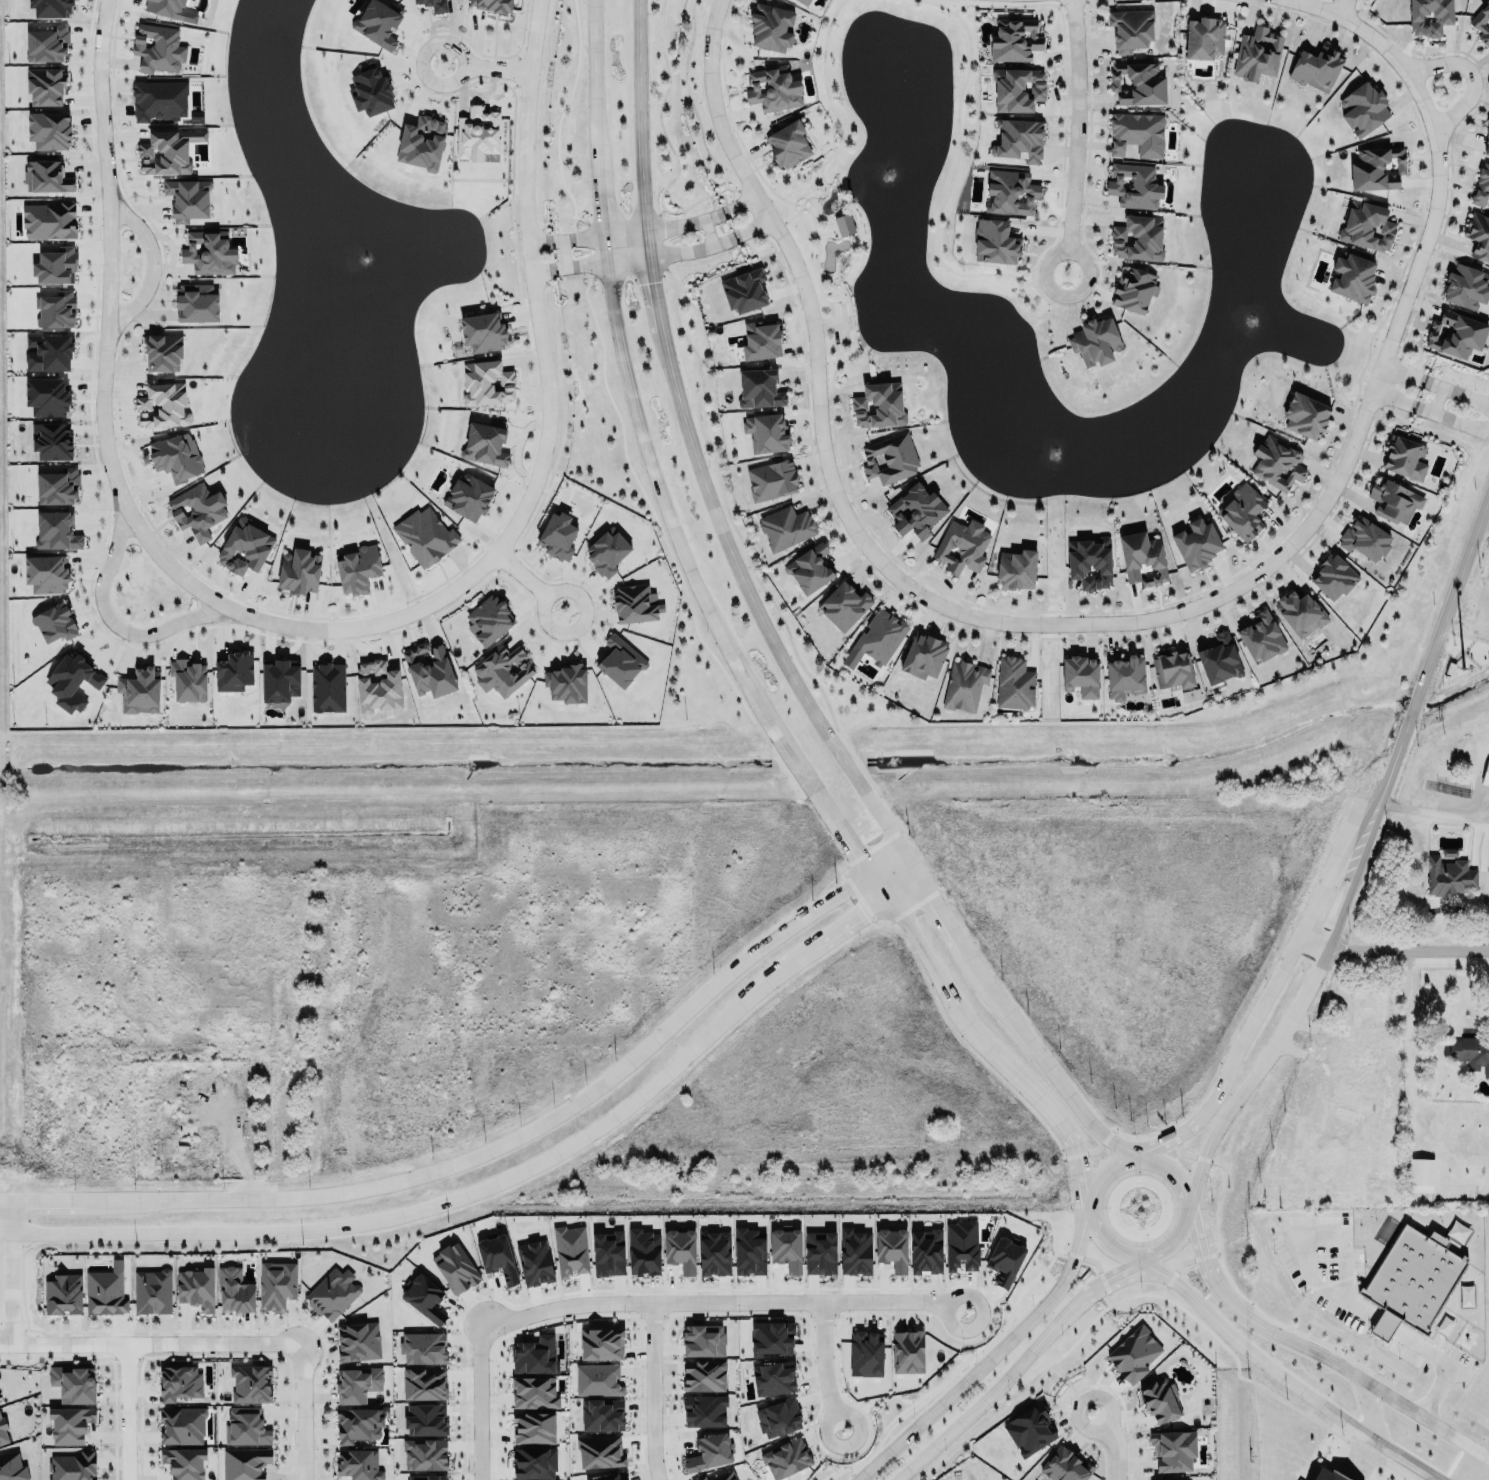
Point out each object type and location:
road: (1336, 1)
building: (805, 2)
building: (433, 5)
building: (491, 5)
building: (50, 8)
building: (166, 8)
building: (1429, 16)
building: (378, 22)
building: (1482, 24)
building: (771, 28)
building: (1130, 30)
building: (1205, 37)
building: (1014, 40)
building: (46, 45)
building: (155, 46)
building: (1257, 54)
road: (1476, 65)
road: (486, 68)
building: (1317, 68)
building: (1139, 83)
building: (44, 84)
building: (774, 89)
building: (1018, 89)
building: (371, 91)
building: (159, 101)
building: (1363, 109)
building: (49, 130)
road: (1074, 132)
building: (1137, 133)
building: (477, 134)
building: (1019, 139)
building: (1485, 142)
building: (421, 143)
building: (788, 144)
building: (167, 151)
road: (1439, 158)
building: (1374, 166)
building: (46, 176)
building: (1135, 185)
building: (1480, 186)
building: (1010, 192)
building: (188, 199)
road: (740, 201)
building: (48, 221)
building: (844, 224)
road: (755, 227)
building: (1368, 227)
road: (636, 230)
building: (1478, 236)
building: (1138, 238)
road: (539, 241)
building: (996, 241)
building: (209, 253)
road: (645, 255)
road: (151, 265)
building: (55, 266)
road: (542, 269)
building: (1353, 277)
building: (1467, 286)
building: (1133, 288)
building: (744, 291)
building: (198, 307)
building: (55, 310)
building: (483, 332)
building: (1455, 334)
building: (762, 340)
building: (1094, 342)
building: (47, 350)
building: (162, 353)
road: (1401, 363)
road: (1454, 381)
building: (487, 383)
road: (630, 384)
road: (1391, 389)
building: (760, 390)
building: (47, 397)
building: (162, 406)
building: (880, 406)
road: (1449, 410)
building: (1306, 416)
building: (766, 433)
building: (52, 441)
building: (485, 444)
road: (693, 449)
building: (173, 457)
building: (1406, 458)
building: (889, 459)
building: (1277, 463)
building: (771, 480)
building: (57, 486)
building: (468, 497)
building: (1394, 501)
building: (197, 510)
building: (917, 511)
building: (1245, 512)
building: (785, 527)
building: (56, 531)
building: (558, 533)
building: (424, 536)
building: (1366, 540)
building: (1197, 544)
building: (961, 546)
building: (244, 548)
building: (606, 553)
building: (1143, 560)
building: (1090, 563)
building: (357, 569)
building: (811, 570)
road: (902, 570)
building: (1017, 570)
building: (299, 572)
building: (1334, 572)
building: (46, 574)
road: (529, 582)
building: (635, 604)
building: (846, 606)
building: (1302, 612)
building: (488, 617)
building: (54, 623)
road: (115, 624)
road: (326, 628)
building: (1263, 638)
building: (877, 639)
road: (1434, 653)
building: (924, 656)
building: (620, 658)
building: (1220, 661)
building: (1173, 669)
building: (429, 670)
building: (233, 671)
building: (503, 671)
building: (1080, 673)
building: (187, 678)
building: (1126, 678)
building: (280, 681)
building: (72, 682)
building: (963, 683)
building: (565, 684)
building: (1014, 684)
building: (327, 685)
building: (377, 686)
building: (137, 690)
building: (1486, 774)
road: (828, 805)
road: (1434, 811)
building: (1448, 853)
road: (1337, 868)
road: (1353, 875)
building: (1450, 875)
road: (903, 885)
road: (944, 916)
road: (849, 922)
road: (1393, 948)
road: (923, 951)
building: (1364, 1009)
road: (1256, 1017)
road: (1478, 1028)
building: (1471, 1051)
road: (1004, 1064)
road: (1325, 1069)
road: (1254, 1072)
road: (1052, 1074)
building: (1344, 1115)
road: (1182, 1132)
road: (497, 1148)
road: (1071, 1148)
building: (1420, 1175)
road: (1180, 1181)
road: (445, 1203)
road: (12, 1218)
road: (1299, 1244)
building: (891, 1245)
building: (786, 1246)
building: (961, 1246)
building: (571, 1251)
road: (1202, 1251)
building: (643, 1252)
building: (749, 1252)
building: (855, 1252)
building: (926, 1252)
building: (714, 1253)
building: (820, 1253)
building: (608, 1254)
building: (1004, 1257)
building: (497, 1258)
building: (534, 1263)
building: (455, 1268)
building: (1410, 1276)
road: (1105, 1279)
building: (275, 1281)
road: (12, 1287)
building: (195, 1288)
building: (234, 1289)
building: (153, 1290)
building: (105, 1291)
building: (330, 1292)
building: (63, 1294)
building: (425, 1294)
road: (719, 1299)
road: (1236, 1305)
road: (1064, 1316)
road: (1381, 1327)
building: (771, 1336)
building: (703, 1340)
road: (151, 1341)
building: (359, 1341)
building: (600, 1341)
building: (423, 1348)
building: (1134, 1349)
building: (907, 1352)
building: (866, 1353)
building: (534, 1355)
road: (988, 1359)
road: (822, 1360)
road: (1439, 1362)
building: (703, 1375)
building: (774, 1376)
building: (598, 1380)
road: (1283, 1380)
building: (356, 1382)
building: (179, 1383)
road: (1371, 1383)
building: (73, 1384)
building: (251, 1384)
building: (424, 1384)
road: (653, 1390)
building: (534, 1393)
building: (1160, 1400)
road: (480, 1405)
road: (978, 1406)
road: (1367, 1407)
road: (304, 1409)
road: (124, 1411)
building: (704, 1411)
building: (601, 1413)
building: (778, 1418)
building: (425, 1419)
building: (355, 1422)
building: (533, 1424)
building: (69, 1425)
building: (181, 1425)
building: (246, 1427)
building: (1029, 1430)
building: (2, 1432)
road: (1119, 1444)
building: (1172, 1448)
building: (424, 1452)
building: (600, 1452)
building: (710, 1452)
building: (785, 1458)
building: (533, 1461)
building: (358, 1462)
building: (184, 1463)
building: (245, 1463)
building: (1064, 1465)
road: (1470, 1465)
building: (11, 1466)
building: (71, 1466)
building: (606, 1475)
building: (1325, 1475)
building: (427, 1477)
building: (1177, 1479)

